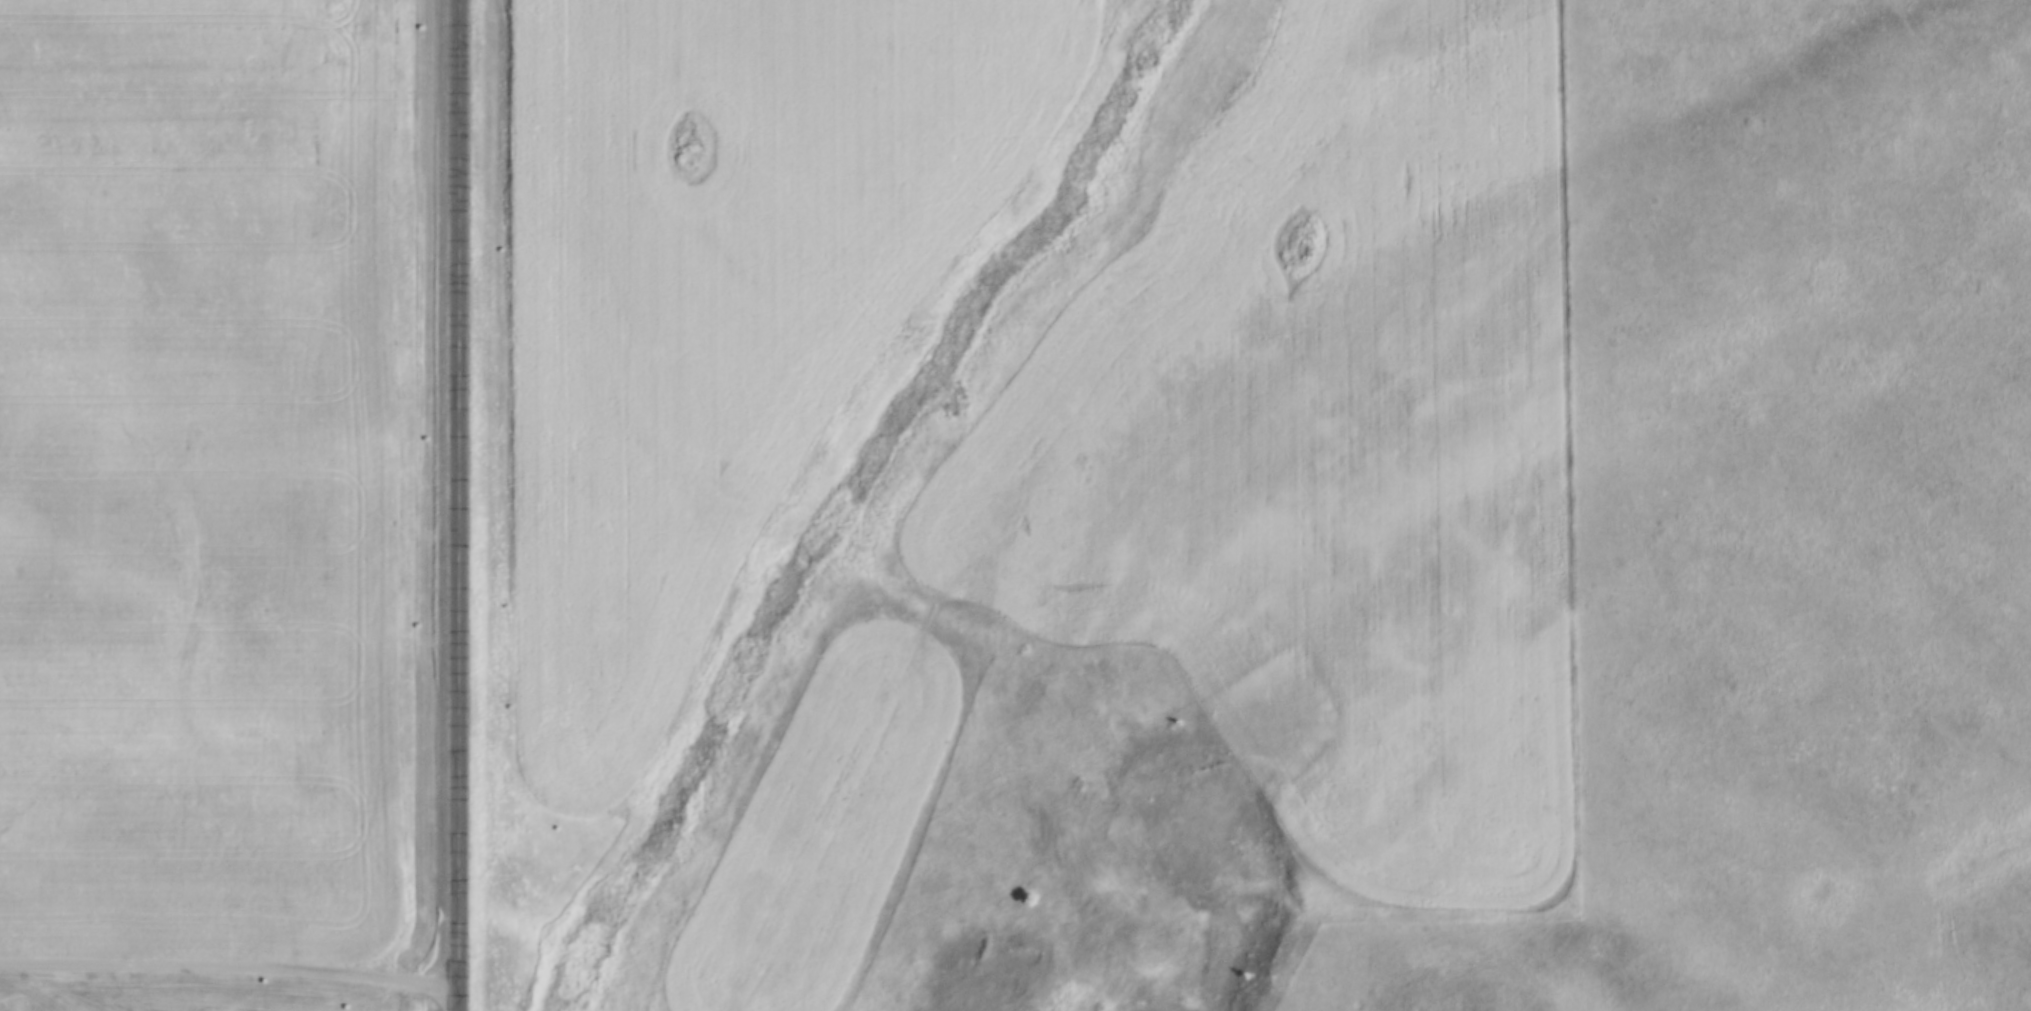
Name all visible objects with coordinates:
road: (457, 505)
road: (230, 963)

